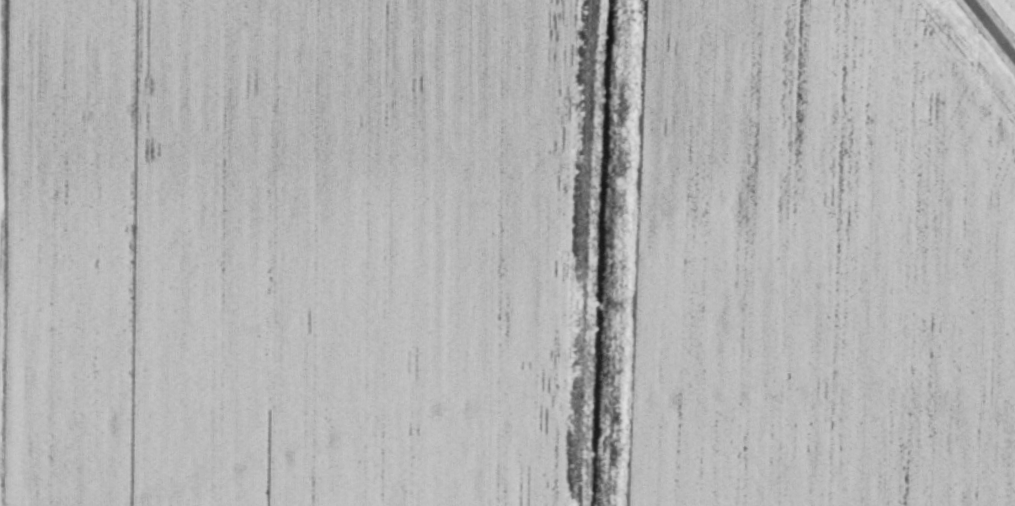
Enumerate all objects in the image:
road: (990, 31)

